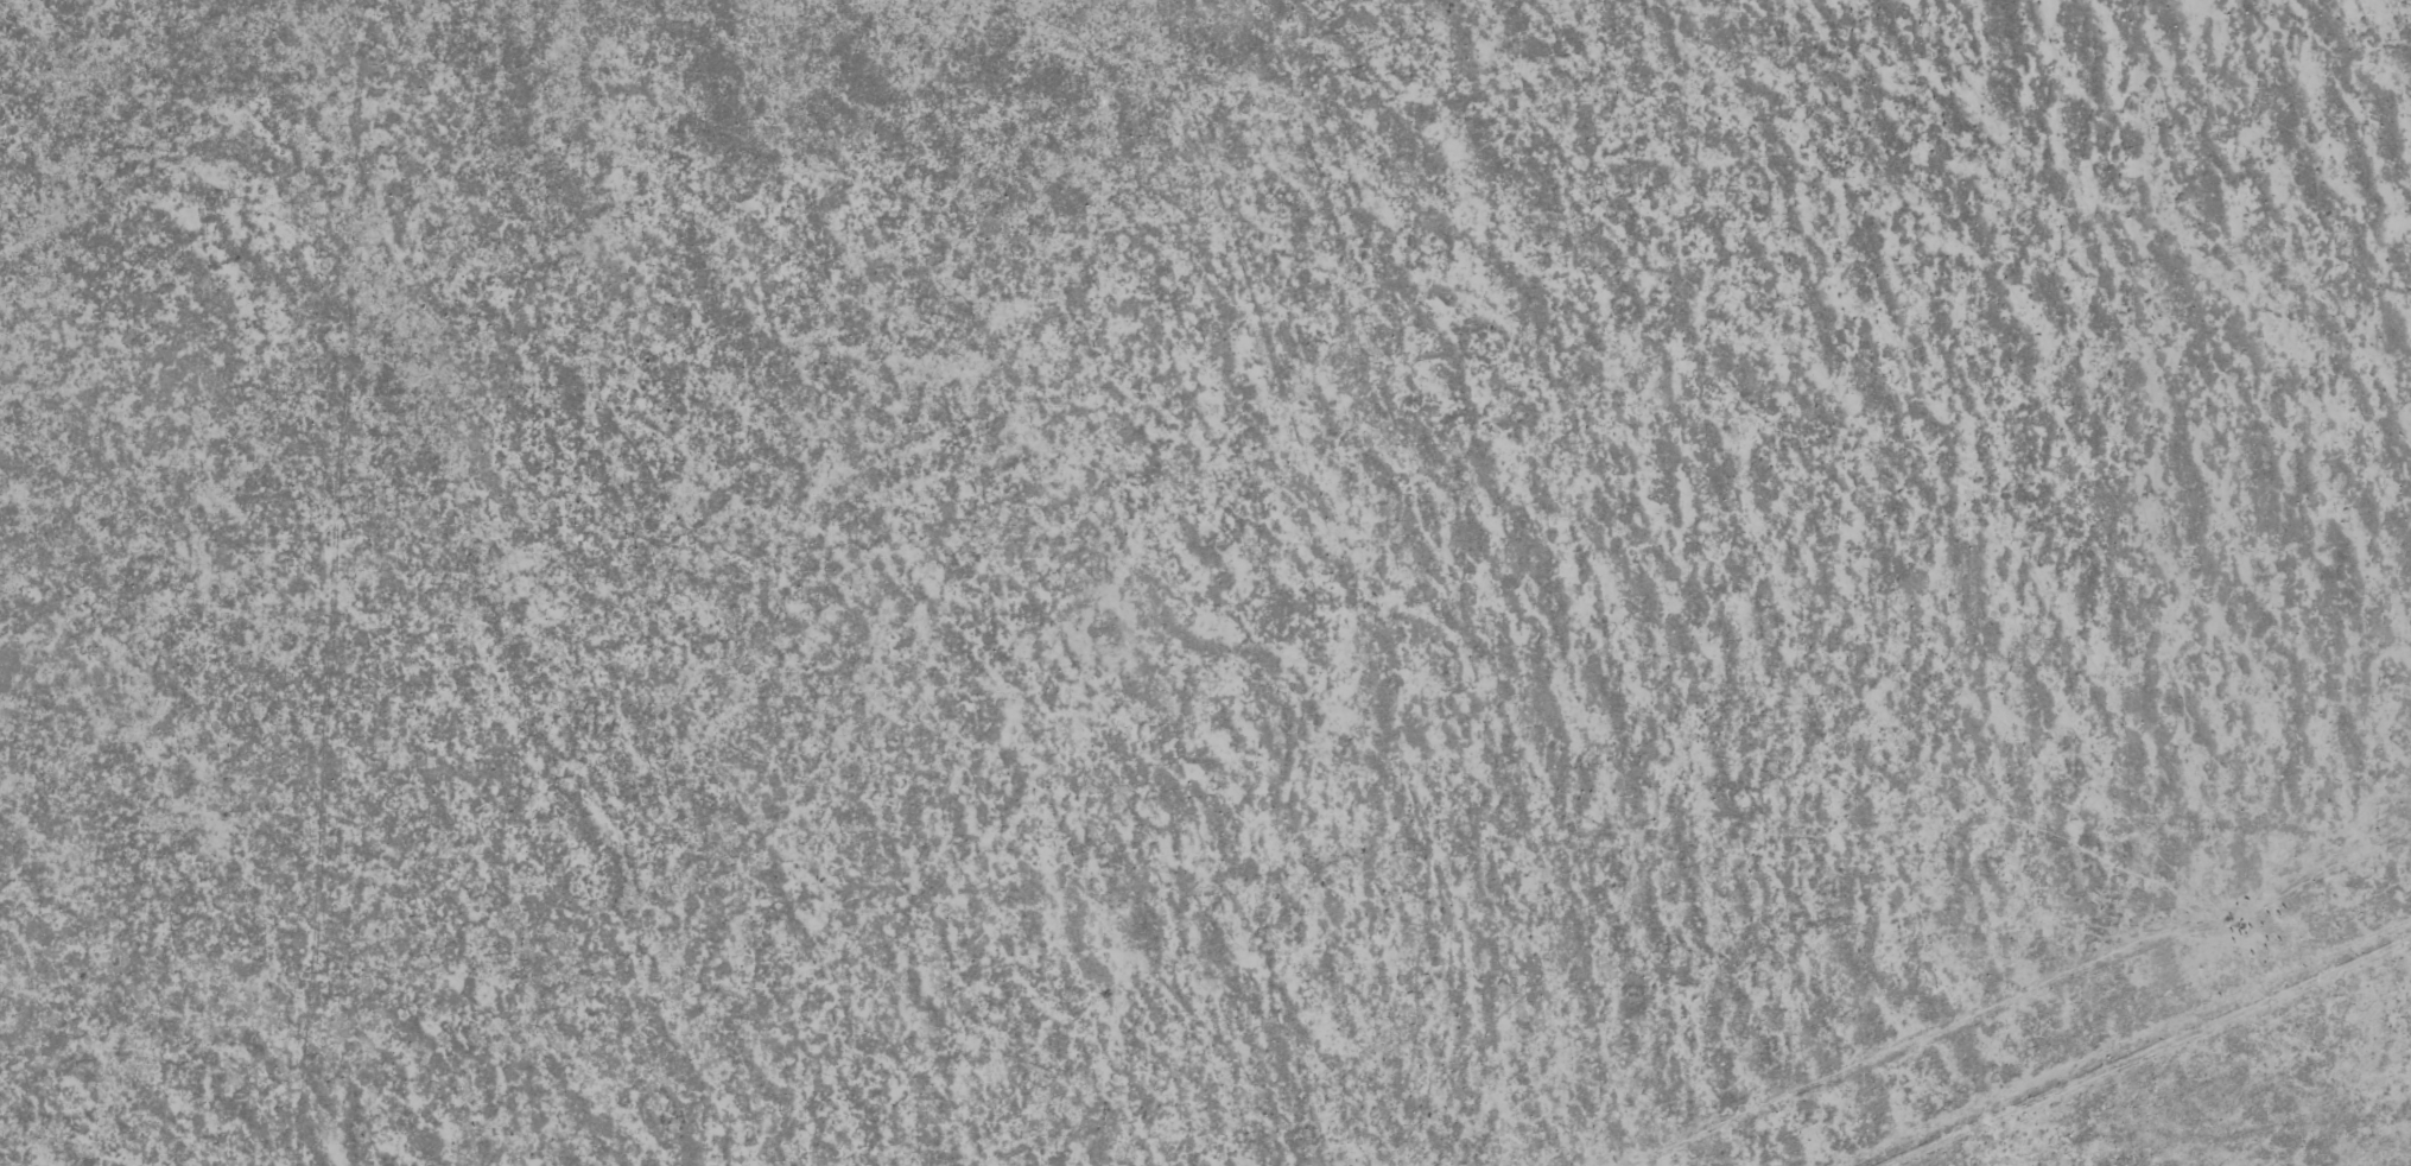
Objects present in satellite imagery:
road: (2409, 0)

